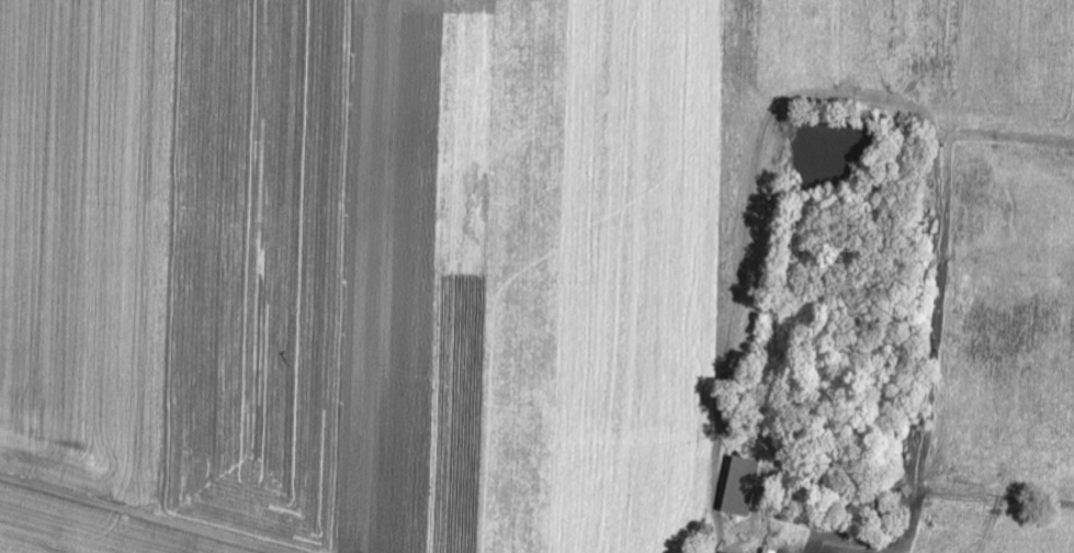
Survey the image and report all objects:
building: (741, 486)
building: (768, 551)

